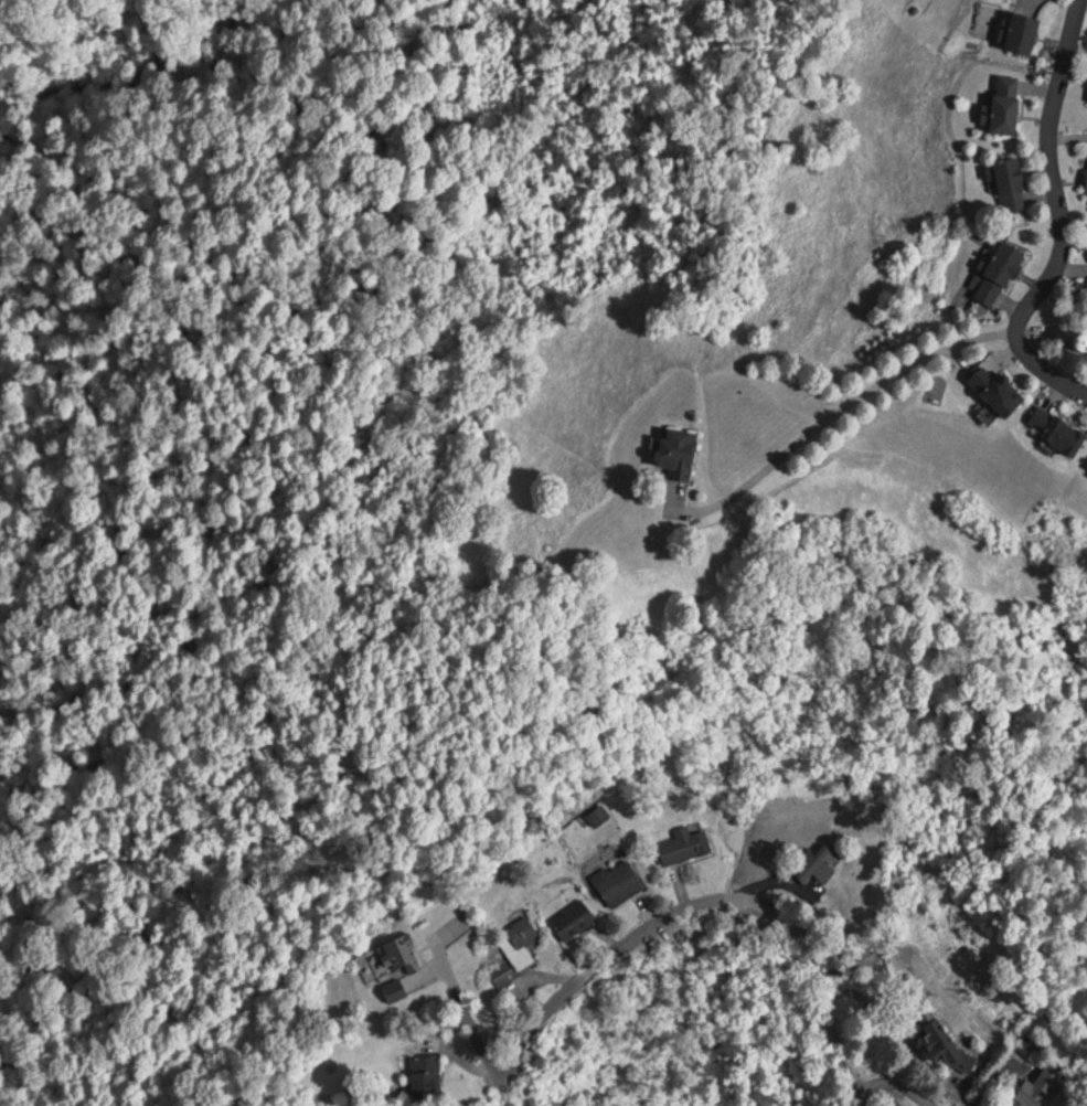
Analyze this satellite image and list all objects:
building: (1020, 29)
building: (1009, 100)
road: (1053, 171)
building: (1011, 180)
building: (998, 273)
building: (1080, 339)
road: (1046, 366)
building: (1001, 387)
building: (1059, 426)
building: (679, 449)
building: (688, 844)
building: (818, 863)
building: (621, 880)
road: (724, 896)
building: (576, 917)
building: (519, 949)
building: (403, 951)
building: (398, 988)
building: (944, 1036)
building: (1024, 1041)
building: (431, 1076)
road: (904, 1086)

